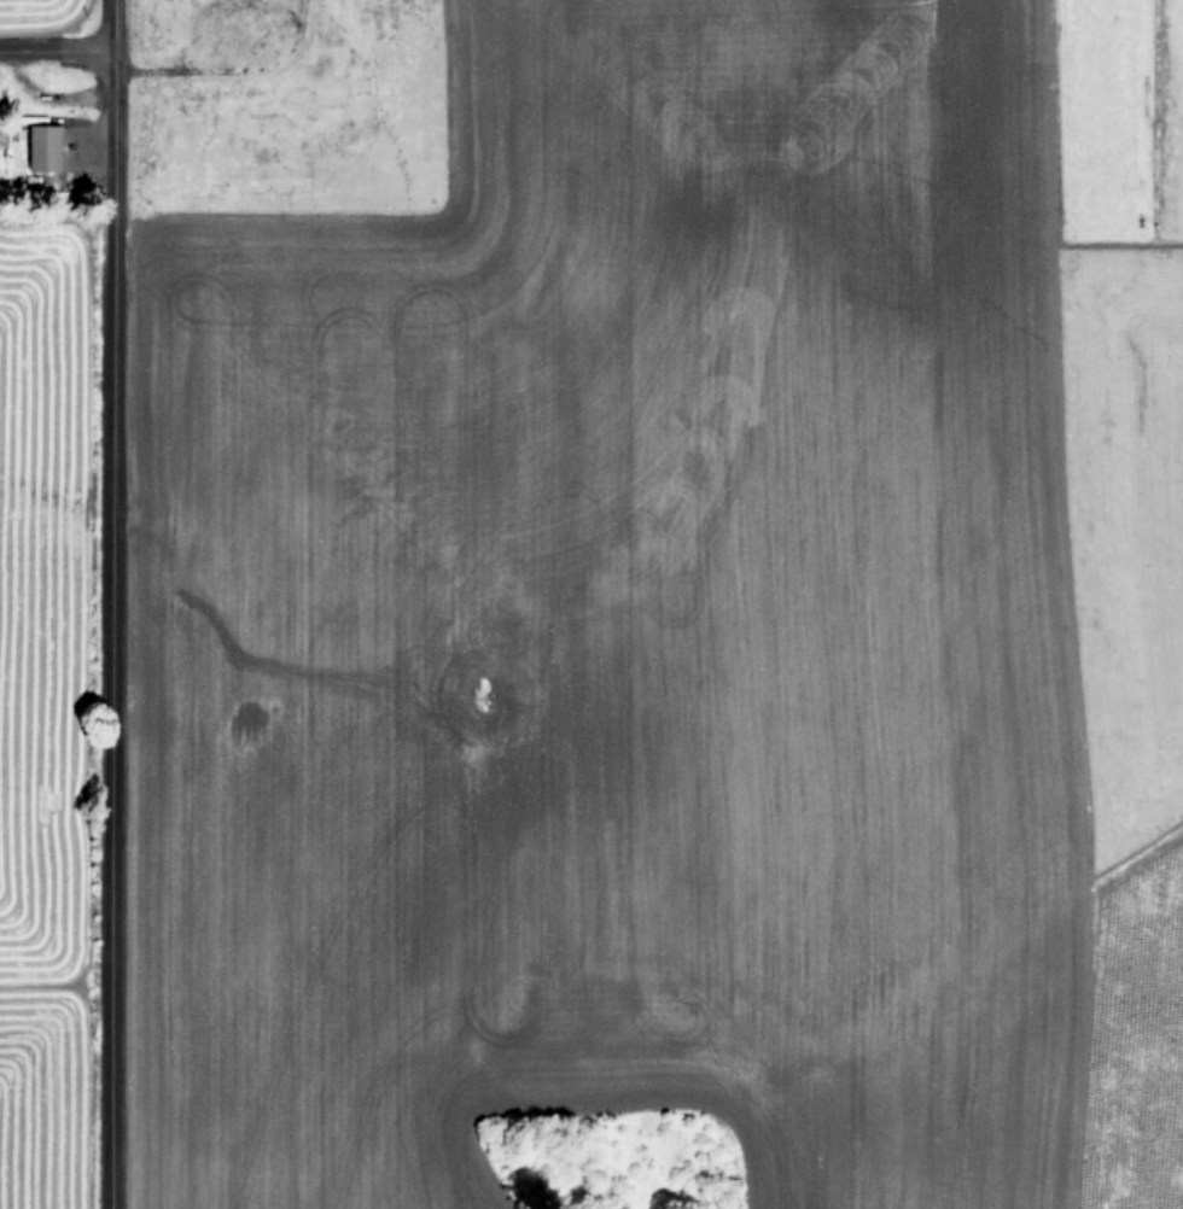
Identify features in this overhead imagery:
road: (54, 51)
building: (37, 147)
road: (106, 603)
crop: (591, 604)

